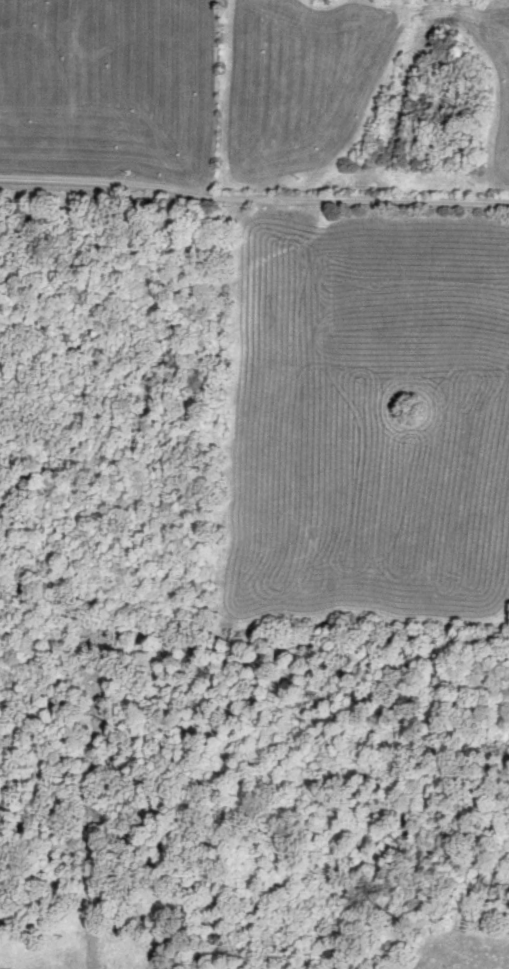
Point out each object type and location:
road: (253, 200)

